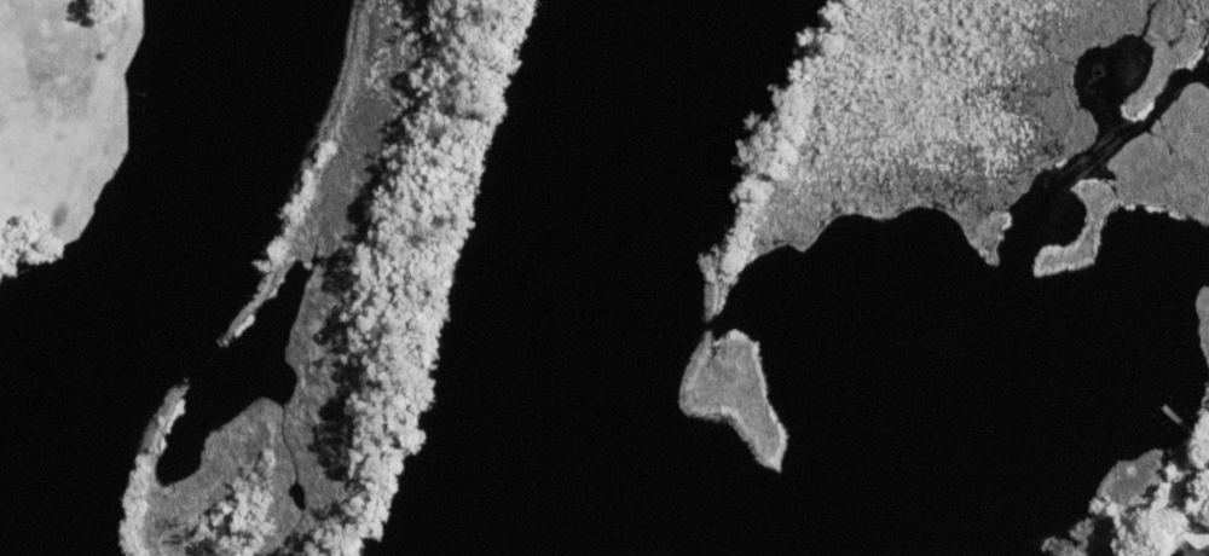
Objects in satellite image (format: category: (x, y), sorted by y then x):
river: (128, 272)
river: (607, 278)
road: (1203, 554)

